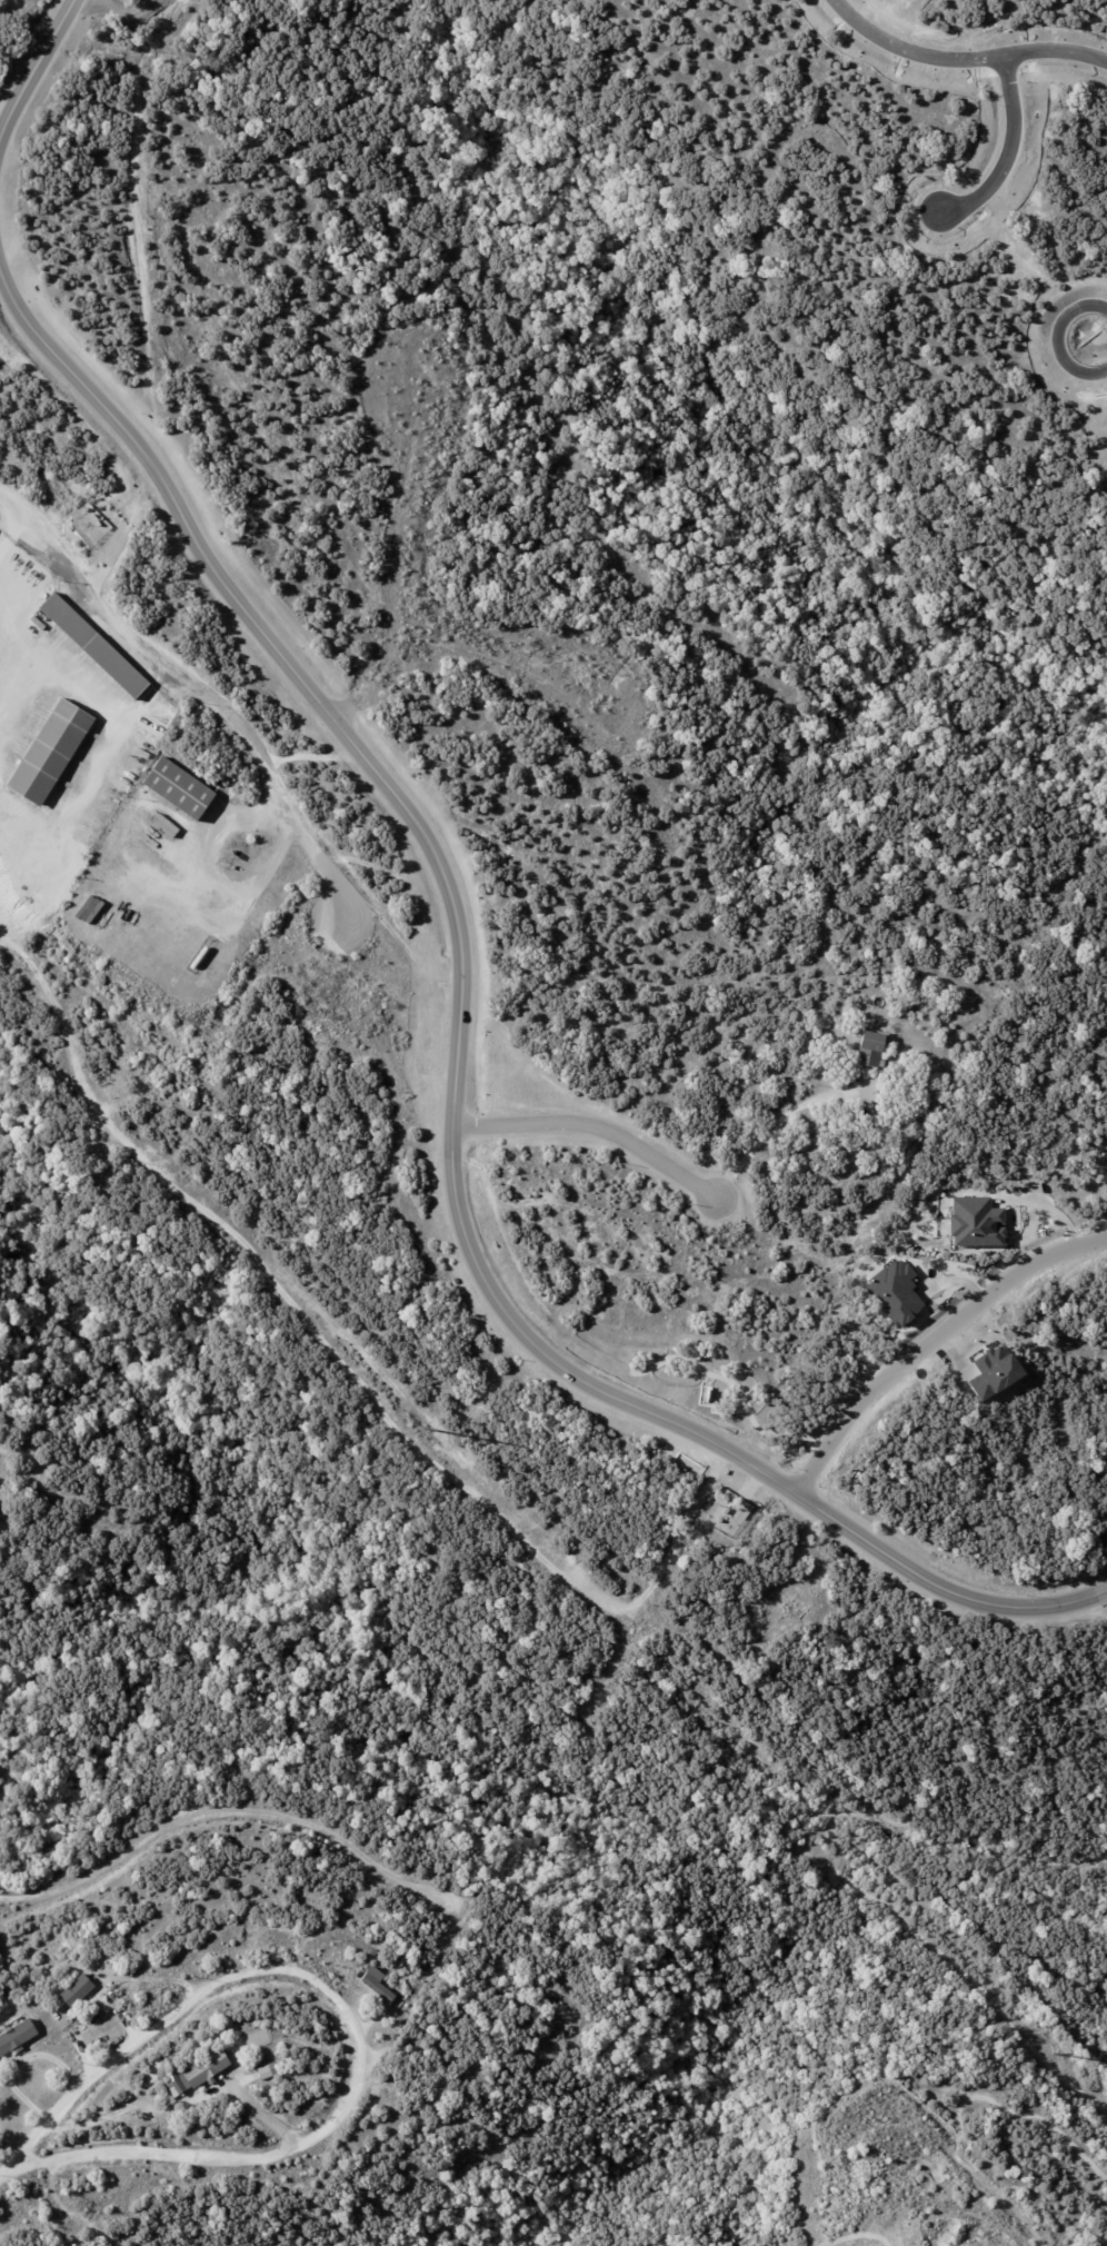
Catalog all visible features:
road: (967, 52)
road: (34, 72)
road: (1011, 148)
road: (1060, 335)
road: (301, 413)
building: (94, 645)
road: (203, 687)
road: (525, 709)
building: (52, 751)
building: (179, 787)
building: (93, 892)
building: (88, 908)
building: (869, 1051)
road: (456, 1061)
road: (595, 1126)
road: (777, 1130)
road: (929, 1342)
power tower: (425, 1428)
building: (0, 1766)
road: (227, 1816)
building: (375, 1985)
building: (76, 1990)
building: (16, 2037)
road: (356, 2045)
power tower: (1057, 2053)
building: (266, 2071)
building: (192, 2075)
building: (126, 2098)
road: (24, 2168)

